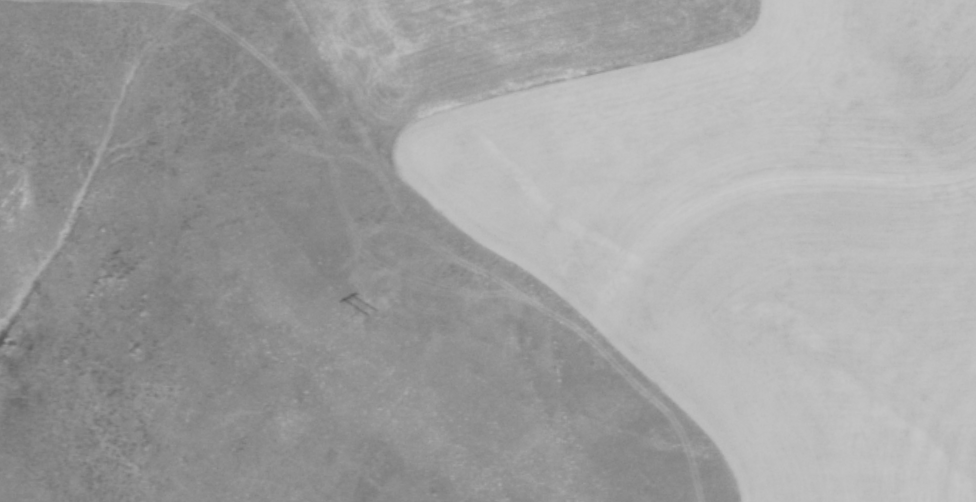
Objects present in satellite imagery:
power tower: (376, 312)

